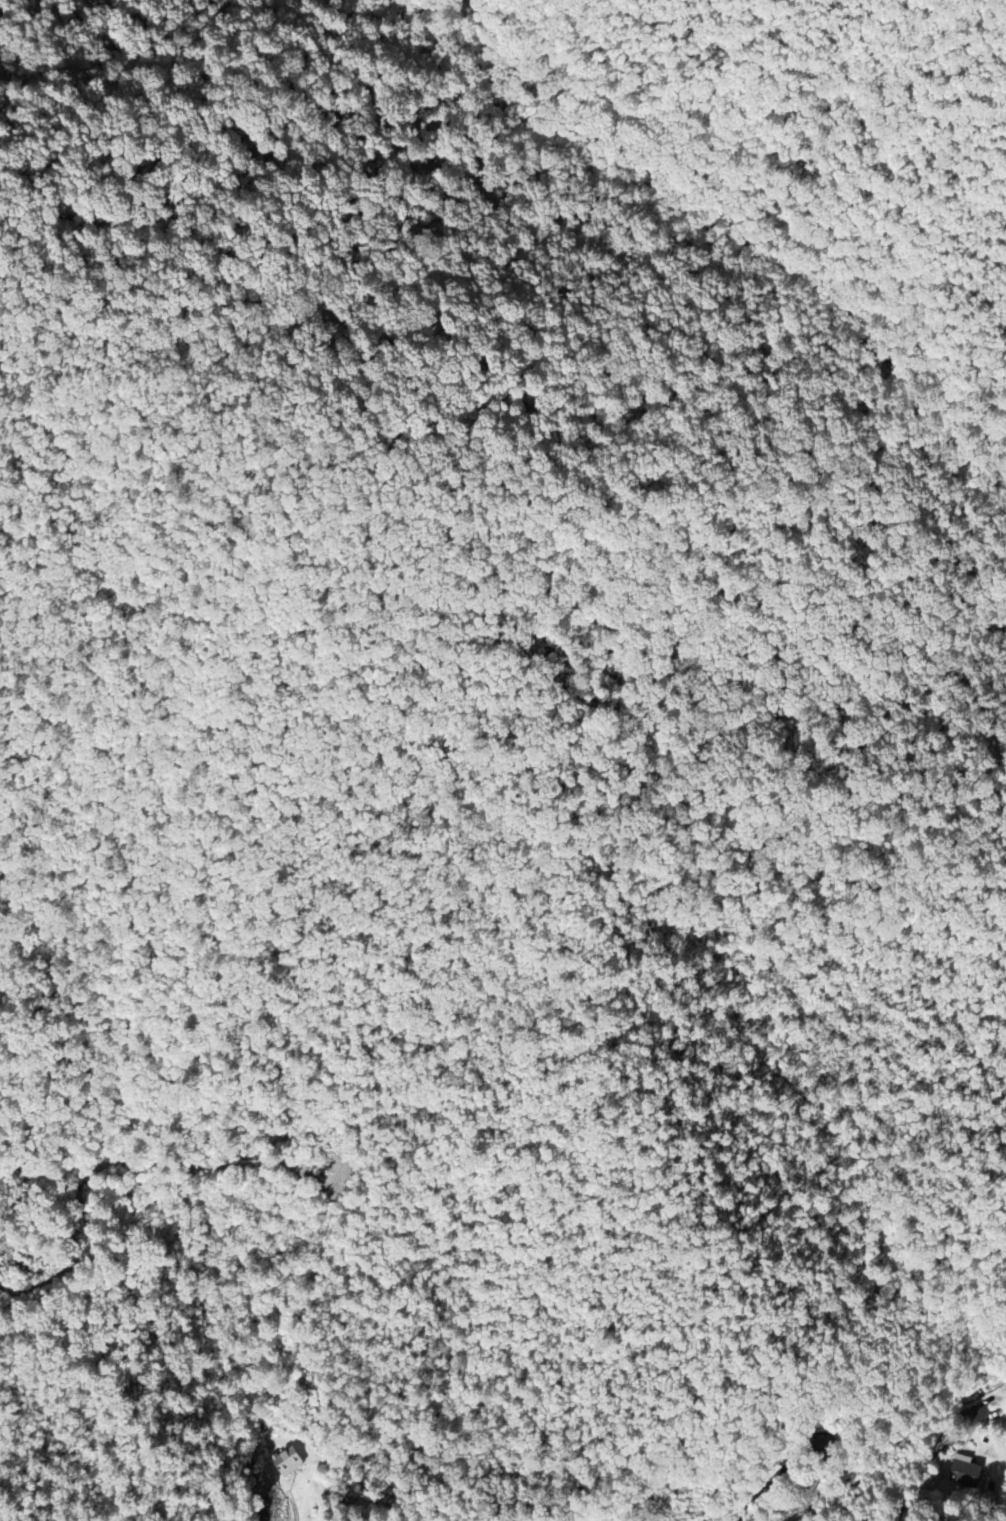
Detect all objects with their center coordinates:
road: (914, 1473)
road: (769, 1484)
river: (989, 1512)

